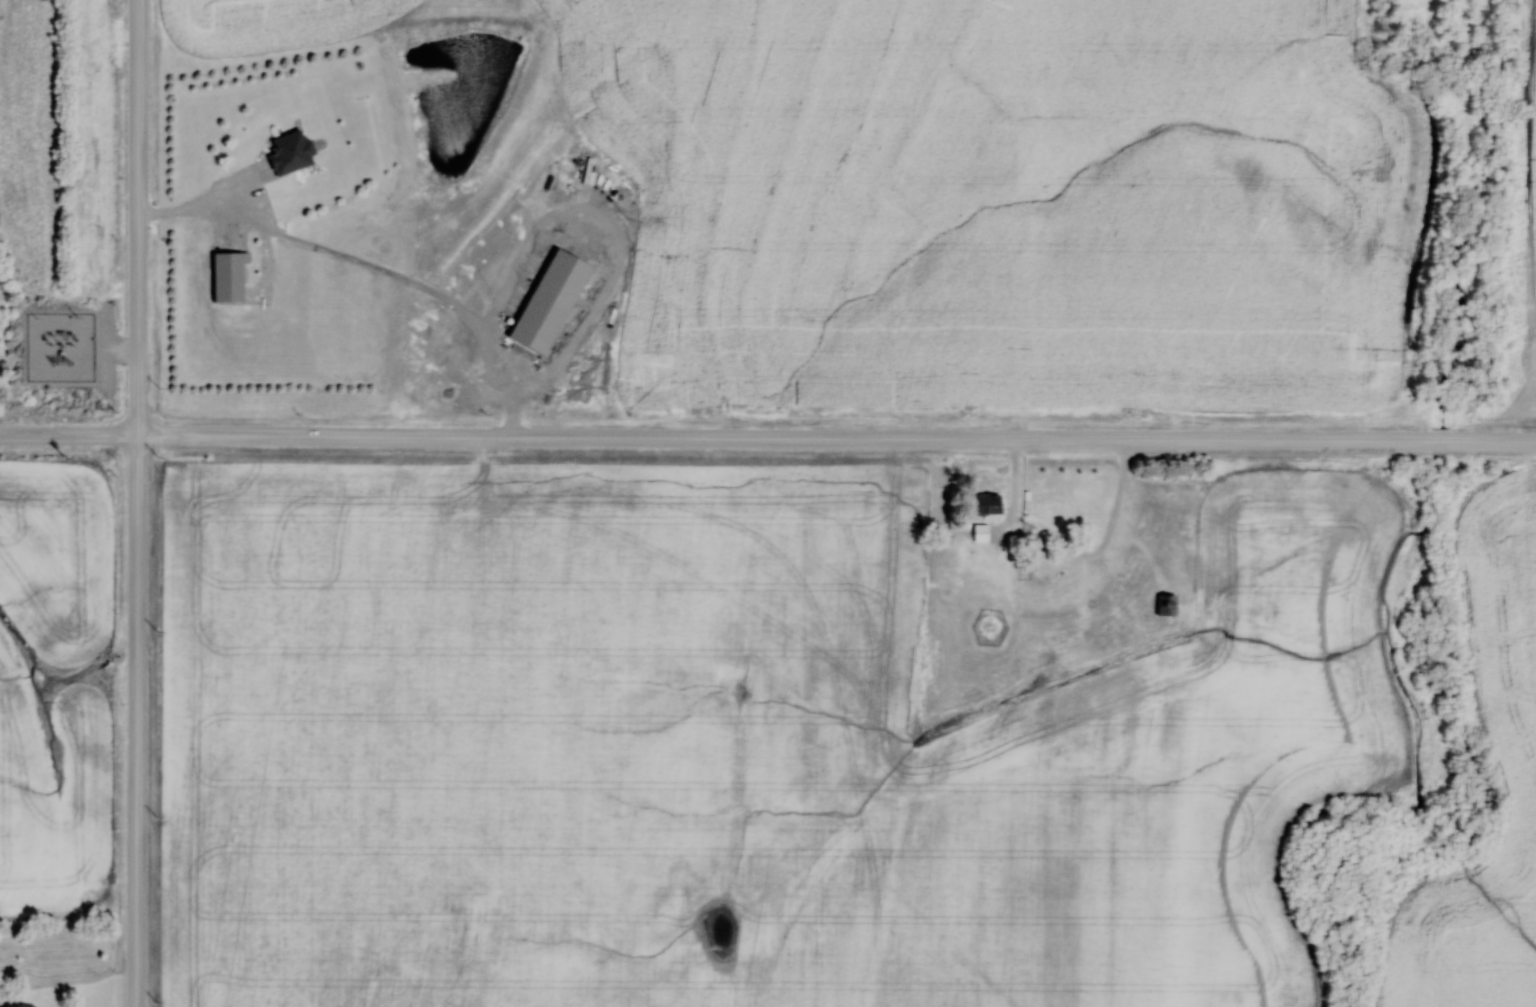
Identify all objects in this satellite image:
building: (289, 154)
road: (372, 267)
building: (227, 276)
power substation: (58, 346)
road: (768, 438)
road: (138, 503)
building: (986, 503)
building: (1165, 605)
building: (16, 1005)

